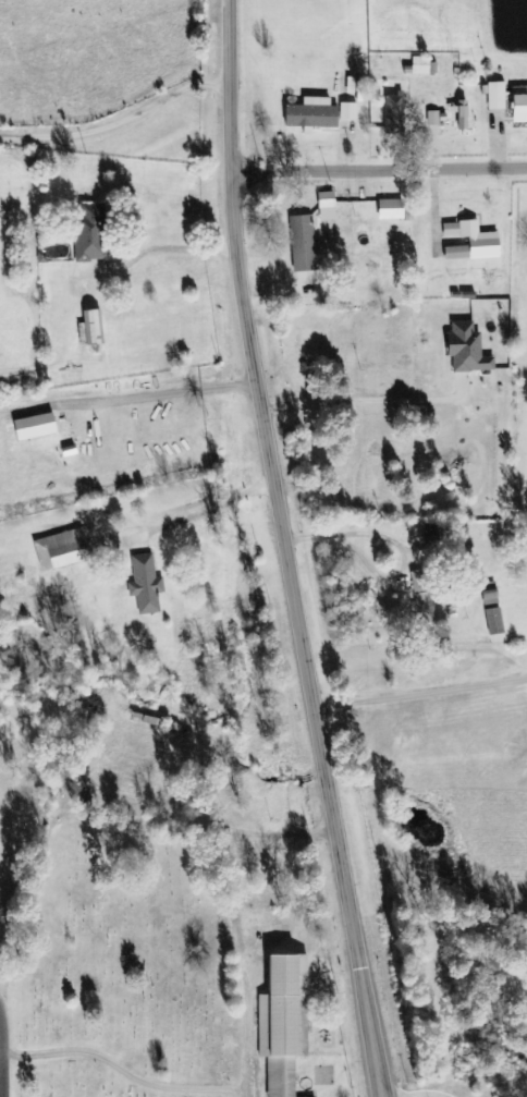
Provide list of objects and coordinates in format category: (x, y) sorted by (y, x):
building: (421, 65)
building: (497, 96)
building: (520, 105)
building: (348, 111)
building: (312, 114)
building: (395, 114)
building: (462, 114)
building: (433, 118)
road: (377, 169)
building: (327, 200)
building: (392, 209)
building: (91, 232)
building: (470, 242)
building: (303, 244)
building: (90, 329)
building: (468, 350)
building: (37, 427)
building: (63, 549)
road: (284, 550)
building: (146, 584)
building: (425, 595)
building: (494, 621)
park: (122, 965)
building: (285, 1023)
road: (0, 1092)

